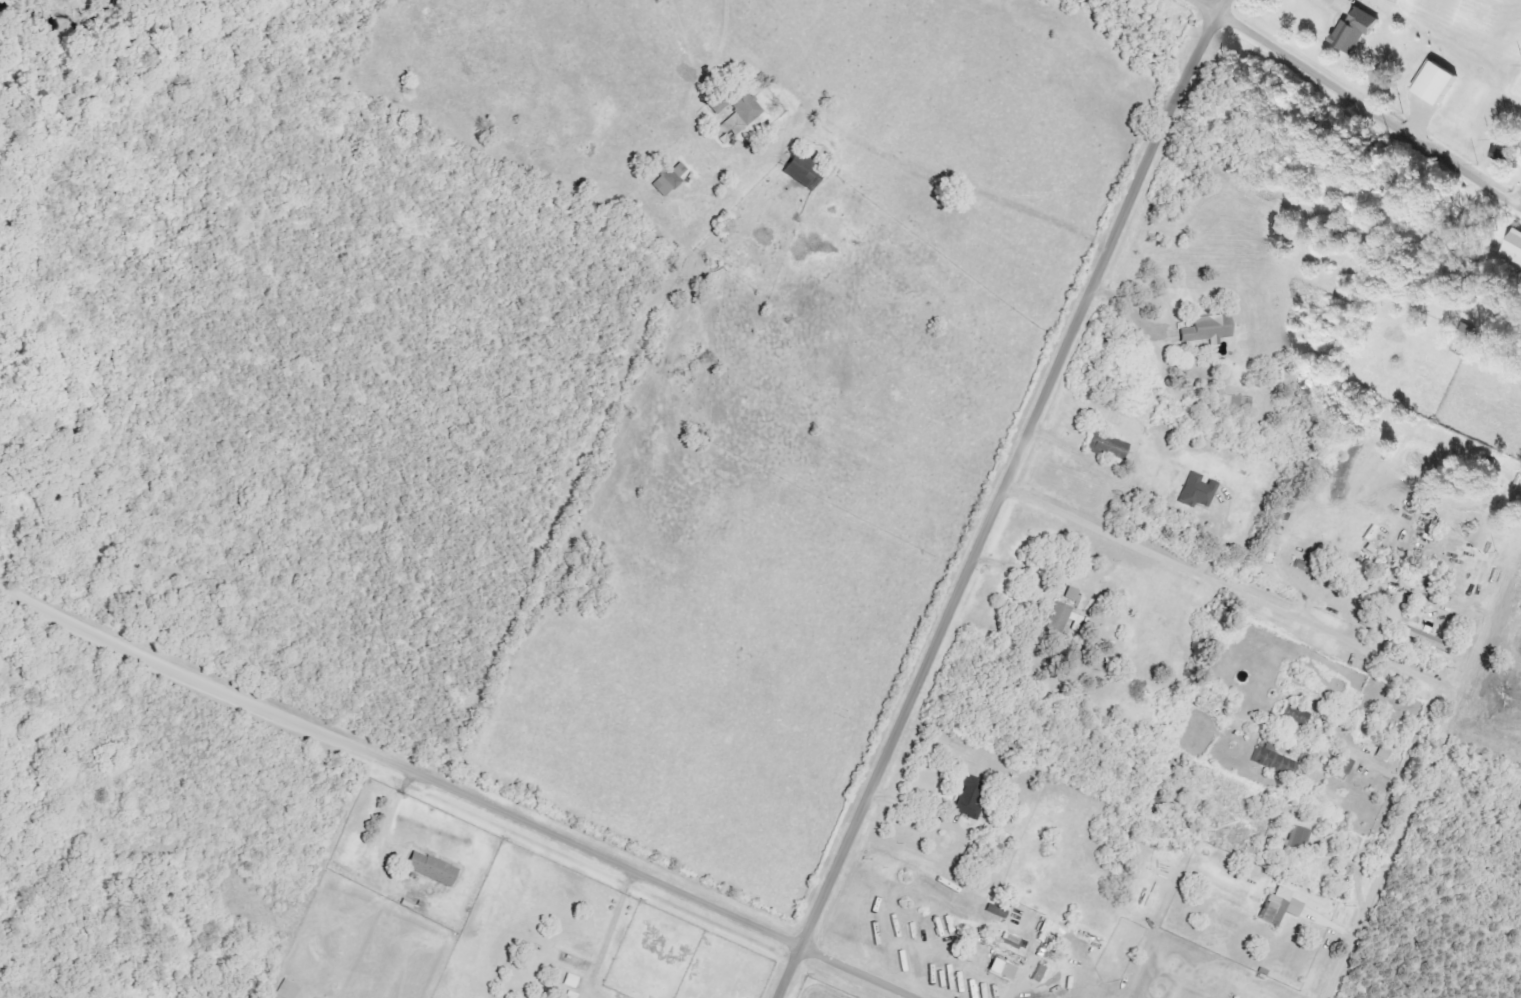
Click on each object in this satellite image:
road: (1203, 5)
road: (1218, 5)
building: (1361, 30)
road: (723, 32)
building: (1433, 83)
road: (1368, 106)
building: (741, 118)
building: (806, 172)
building: (672, 179)
building: (1513, 245)
building: (1205, 329)
building: (1228, 403)
building: (1104, 445)
road: (1001, 472)
building: (1194, 491)
building: (1267, 553)
road: (1010, 566)
road: (1226, 590)
road: (43, 605)
building: (1056, 621)
building: (1418, 637)
building: (1292, 715)
building: (1270, 760)
building: (965, 800)
road: (1410, 803)
road: (499, 809)
road: (393, 810)
road: (942, 826)
building: (1296, 836)
building: (435, 868)
building: (1275, 907)
road: (609, 932)
building: (1010, 944)
road: (788, 969)
building: (996, 969)
building: (573, 980)
building: (288, 989)

